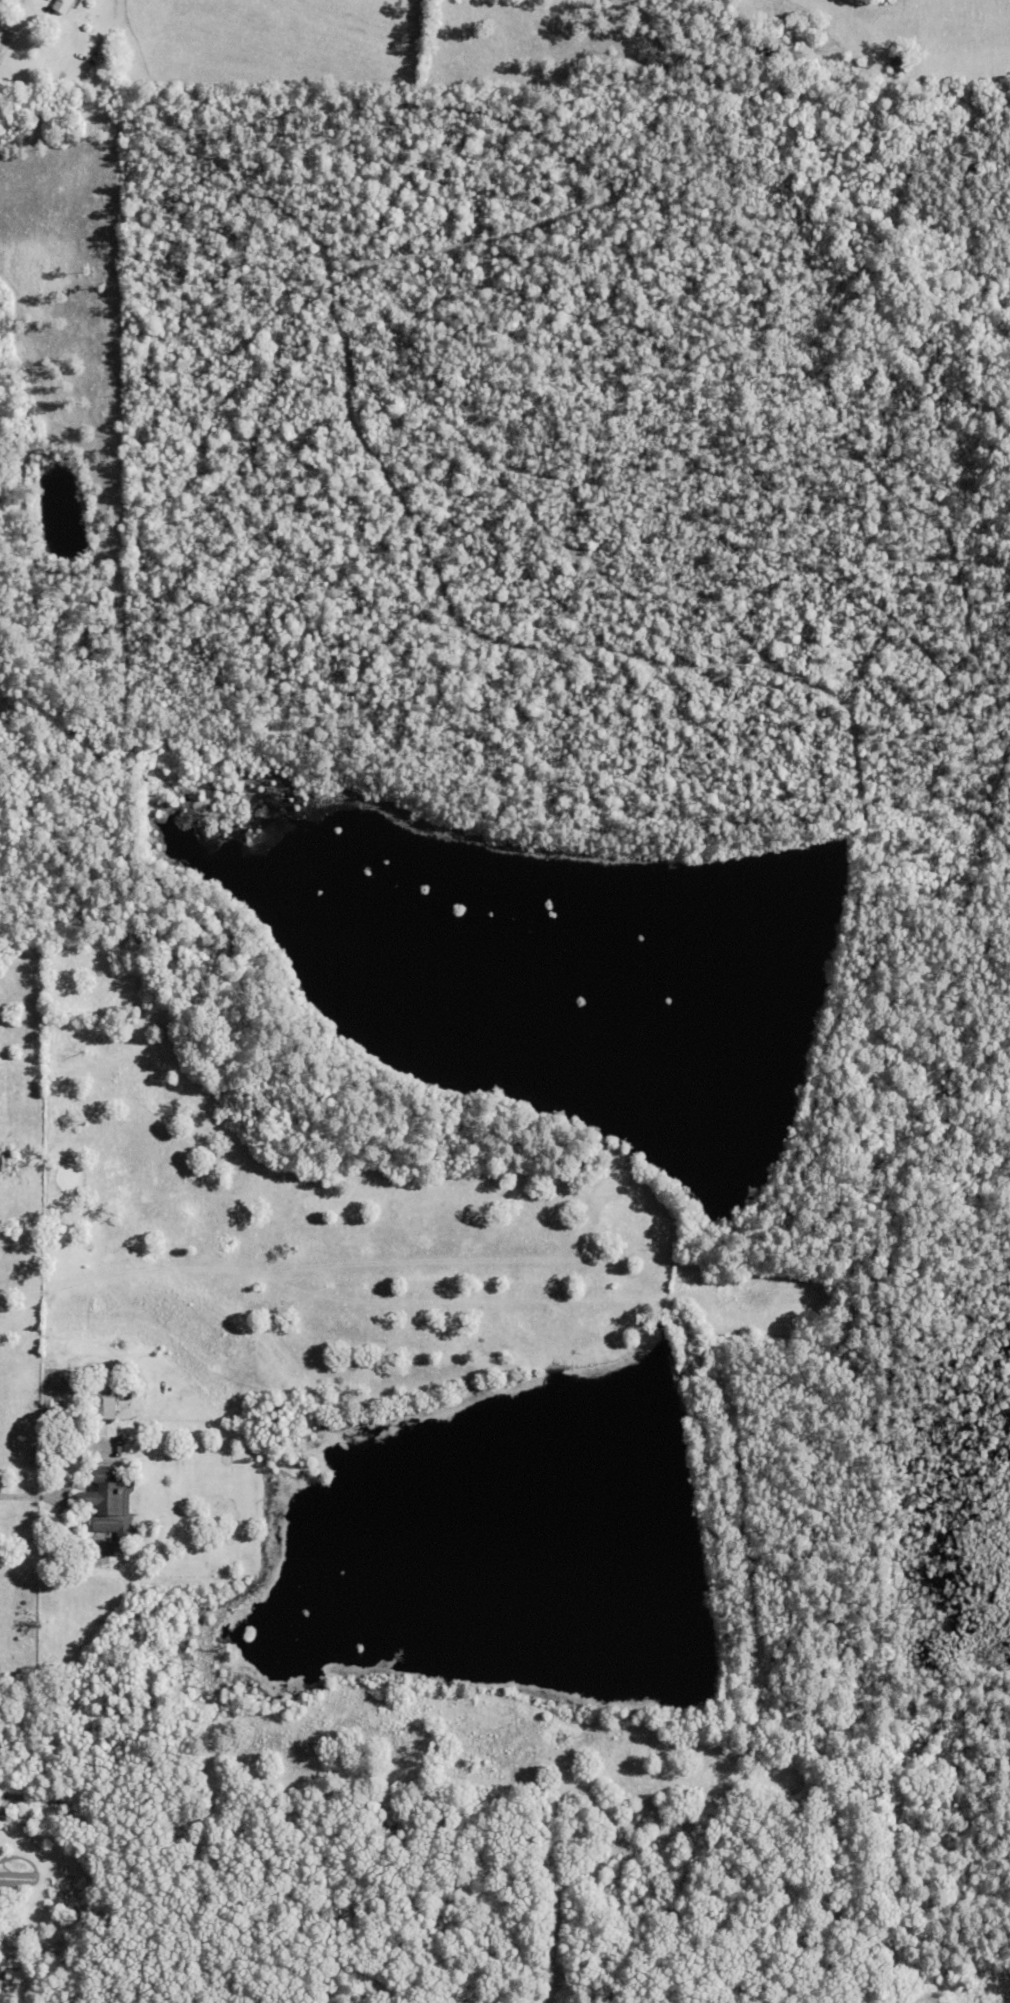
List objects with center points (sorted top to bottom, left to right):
building: (63, 7)
building: (105, 51)
building: (900, 65)
building: (104, 1400)
building: (120, 1444)
road: (27, 1494)
building: (113, 1510)
building: (67, 1893)
road: (890, 1903)

